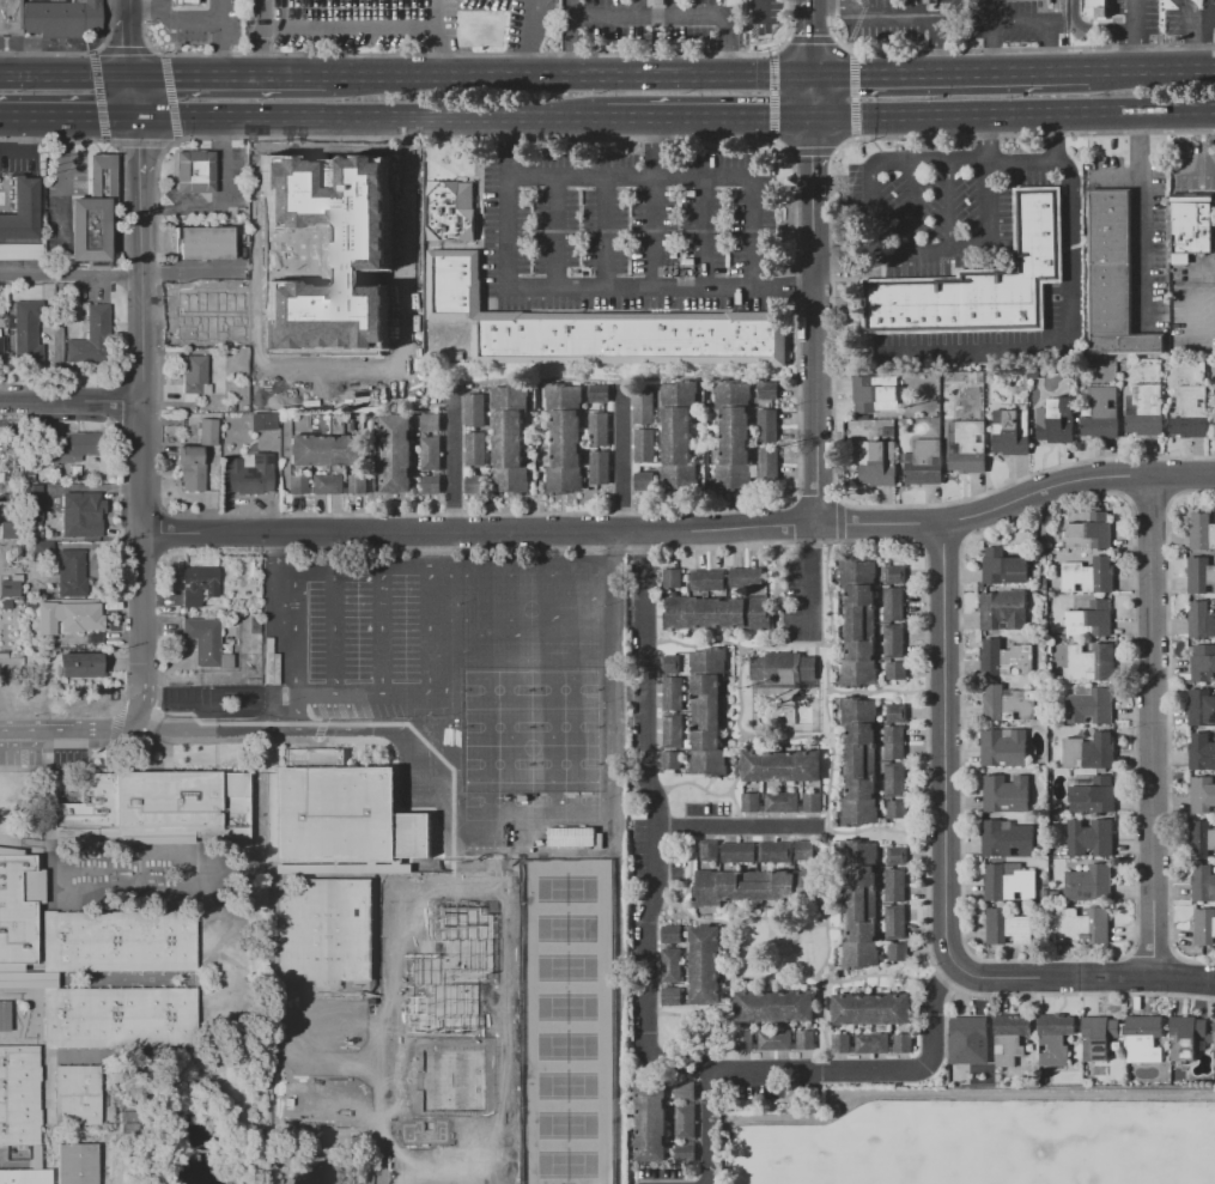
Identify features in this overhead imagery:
road: (810, 0)
building: (657, 1)
building: (183, 2)
road: (163, 4)
road: (913, 8)
road: (942, 8)
building: (1095, 8)
road: (220, 10)
road: (812, 10)
road: (681, 16)
road: (905, 17)
building: (49, 18)
road: (1204, 18)
road: (171, 19)
road: (1047, 20)
road: (351, 26)
road: (1094, 26)
road: (1195, 31)
road: (1135, 35)
road: (528, 36)
road: (992, 37)
road: (265, 38)
road: (438, 38)
road: (572, 38)
road: (812, 47)
road: (221, 48)
road: (1150, 69)
road: (949, 74)
road: (770, 77)
traffic signals: (812, 77)
road: (65, 78)
traffic signals: (130, 78)
road: (229, 78)
road: (528, 78)
road: (812, 97)
road: (1014, 114)
road: (68, 117)
traffic signals: (138, 117)
road: (372, 119)
road: (710, 119)
traffic signals: (813, 119)
road: (223, 132)
road: (511, 134)
road: (1053, 136)
road: (989, 138)
road: (1140, 145)
road: (22, 146)
road: (656, 147)
building: (268, 156)
road: (967, 162)
road: (510, 163)
road: (1197, 168)
building: (181, 170)
building: (358, 171)
building: (326, 175)
road: (631, 176)
building: (268, 178)
road: (1118, 180)
building: (409, 188)
building: (359, 194)
building: (323, 198)
building: (268, 201)
building: (411, 204)
road: (948, 205)
road: (224, 206)
road: (873, 207)
road: (152, 208)
building: (450, 211)
road: (915, 211)
building: (20, 213)
building: (93, 213)
road: (1073, 213)
building: (329, 223)
building: (364, 223)
building: (1192, 225)
building: (408, 226)
road: (508, 231)
road: (557, 231)
road: (606, 231)
road: (654, 232)
road: (705, 232)
road: (754, 233)
building: (363, 241)
building: (207, 242)
building: (332, 242)
building: (267, 248)
road: (964, 248)
road: (1142, 251)
building: (20, 254)
building: (411, 257)
building: (330, 273)
building: (364, 273)
road: (1203, 274)
building: (411, 275)
road: (121, 277)
building: (1116, 278)
building: (977, 281)
building: (364, 285)
road: (646, 287)
road: (800, 289)
road: (842, 289)
building: (272, 291)
building: (345, 291)
building: (324, 292)
building: (411, 297)
building: (254, 299)
building: (365, 303)
building: (452, 303)
road: (1191, 303)
building: (417, 304)
building: (330, 305)
building: (411, 312)
building: (271, 314)
building: (196, 317)
building: (365, 320)
road: (813, 322)
building: (327, 323)
road: (831, 324)
building: (408, 327)
building: (26, 332)
road: (1203, 332)
building: (631, 335)
building: (267, 336)
building: (92, 338)
building: (327, 339)
building: (363, 340)
road: (139, 341)
building: (0, 345)
building: (409, 346)
road: (1019, 352)
building: (324, 356)
building: (271, 360)
building: (409, 364)
road: (344, 372)
building: (195, 375)
building: (409, 380)
building: (271, 383)
building: (322, 391)
building: (767, 391)
building: (599, 394)
building: (874, 395)
building: (1213, 401)
road: (69, 406)
building: (644, 407)
building: (474, 409)
building: (1144, 411)
building: (1190, 411)
building: (1102, 412)
building: (1057, 420)
building: (263, 421)
building: (431, 423)
building: (769, 426)
building: (600, 430)
building: (208, 431)
building: (1012, 431)
building: (735, 435)
building: (565, 437)
building: (679, 438)
building: (509, 441)
building: (74, 447)
building: (645, 447)
building: (967, 447)
building: (475, 449)
building: (327, 450)
building: (396, 453)
building: (431, 454)
road: (621, 459)
road: (452, 462)
building: (877, 462)
building: (927, 462)
building: (192, 466)
building: (770, 466)
building: (600, 468)
building: (250, 474)
building: (646, 481)
building: (297, 484)
building: (328, 484)
building: (476, 484)
building: (359, 485)
building: (430, 485)
building: (31, 504)
building: (73, 512)
building: (10, 530)
road: (684, 530)
building: (1091, 532)
building: (1202, 532)
building: (37, 546)
road: (280, 552)
building: (1003, 566)
road: (527, 569)
building: (71, 573)
building: (1199, 573)
building: (895, 575)
building: (1088, 575)
road: (812, 576)
building: (673, 578)
building: (746, 578)
building: (709, 581)
building: (198, 584)
building: (10, 588)
building: (893, 603)
building: (1004, 609)
building: (716, 613)
building: (68, 617)
building: (1091, 619)
building: (1201, 620)
building: (859, 623)
road: (387, 632)
road: (438, 632)
parking lot: (364, 638)
building: (209, 640)
building: (894, 640)
building: (1007, 657)
building: (1091, 662)
building: (1203, 663)
building: (81, 664)
building: (672, 664)
building: (782, 668)
building: (897, 670)
park: (531, 679)
building: (674, 693)
road: (439, 700)
building: (1008, 702)
building: (1091, 705)
building: (1202, 706)
building: (707, 712)
building: (897, 714)
road: (86, 727)
road: (212, 728)
road: (351, 728)
building: (673, 730)
road: (1156, 730)
building: (894, 742)
building: (1004, 747)
building: (1091, 751)
building: (1201, 751)
parking lot: (44, 752)
road: (958, 752)
building: (670, 760)
building: (861, 760)
building: (782, 766)
building: (895, 781)
building: (1007, 793)
building: (1203, 794)
building: (1094, 796)
building: (813, 801)
building: (751, 802)
building: (782, 802)
building: (898, 809)
building: (341, 813)
road: (745, 830)
building: (1091, 837)
building: (1008, 838)
building: (1201, 838)
building: (1043, 840)
building: (710, 850)
building: (804, 850)
building: (776, 851)
building: (739, 852)
building: (898, 856)
building: (146, 869)
road: (363, 872)
road: (136, 874)
building: (1009, 881)
building: (1089, 882)
building: (1203, 884)
building: (757, 885)
building: (894, 885)
building: (1045, 893)
building: (1055, 893)
road: (37, 894)
park: (418, 900)
park: (479, 900)
building: (861, 903)
building: (894, 922)
building: (1086, 924)
building: (1205, 925)
building: (1008, 927)
building: (324, 933)
road: (198, 934)
building: (672, 934)
road: (219, 942)
park: (418, 947)
park: (480, 947)
building: (898, 953)
building: (705, 964)
building: (672, 965)
road: (98, 980)
road: (217, 980)
road: (1087, 983)
road: (650, 985)
park: (418, 992)
park: (480, 992)
building: (672, 996)
road: (244, 998)
building: (774, 1006)
building: (372, 1009)
building: (871, 1009)
building: (5, 1016)
building: (124, 1019)
park: (567, 1021)
building: (1214, 1030)
building: (1185, 1037)
building: (1010, 1038)
building: (1100, 1038)
building: (1143, 1038)
park: (419, 1039)
park: (480, 1039)
building: (745, 1039)
building: (774, 1039)
building: (806, 1039)
building: (970, 1039)
building: (1055, 1039)
building: (871, 1042)
building: (842, 1043)
building: (903, 1043)
building: (285, 1049)
road: (163, 1056)
road: (947, 1062)
park: (480, 1085)
park: (419, 1086)
building: (686, 1089)
road: (960, 1093)
road: (48, 1097)
building: (75, 1097)
building: (18, 1098)
building: (652, 1121)
building: (685, 1122)
road: (716, 1131)
park: (989, 1143)
building: (685, 1152)
park: (1198, 1155)
building: (75, 1165)
building: (24, 1178)

